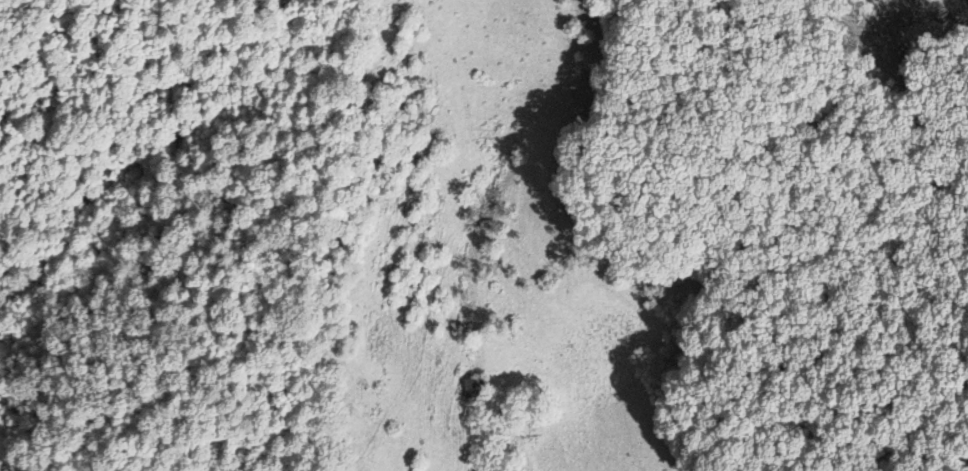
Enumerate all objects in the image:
building: (473, 387)
building: (532, 418)

